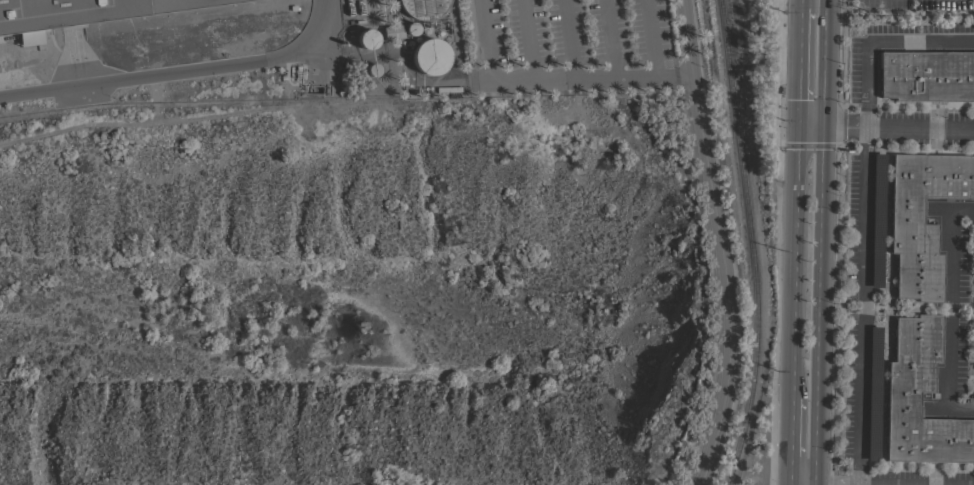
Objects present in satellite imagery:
road: (800, 5)
building: (421, 8)
storage tank: (421, 8)
building: (82, 11)
building: (411, 28)
storage tank: (411, 28)
building: (391, 31)
road: (650, 37)
building: (366, 38)
storage tank: (366, 38)
road: (569, 38)
road: (612, 38)
road: (486, 39)
road: (530, 39)
parking lot: (567, 45)
building: (429, 56)
storage tank: (429, 56)
road: (798, 68)
building: (372, 69)
storage tank: (372, 69)
road: (181, 72)
building: (926, 76)
road: (559, 77)
road: (885, 127)
road: (865, 212)
building: (912, 238)
road: (822, 242)
road: (719, 243)
railway: (753, 243)
road: (794, 261)
road: (947, 311)
building: (909, 377)
road: (972, 407)
road: (791, 440)
road: (789, 484)
road: (804, 484)

